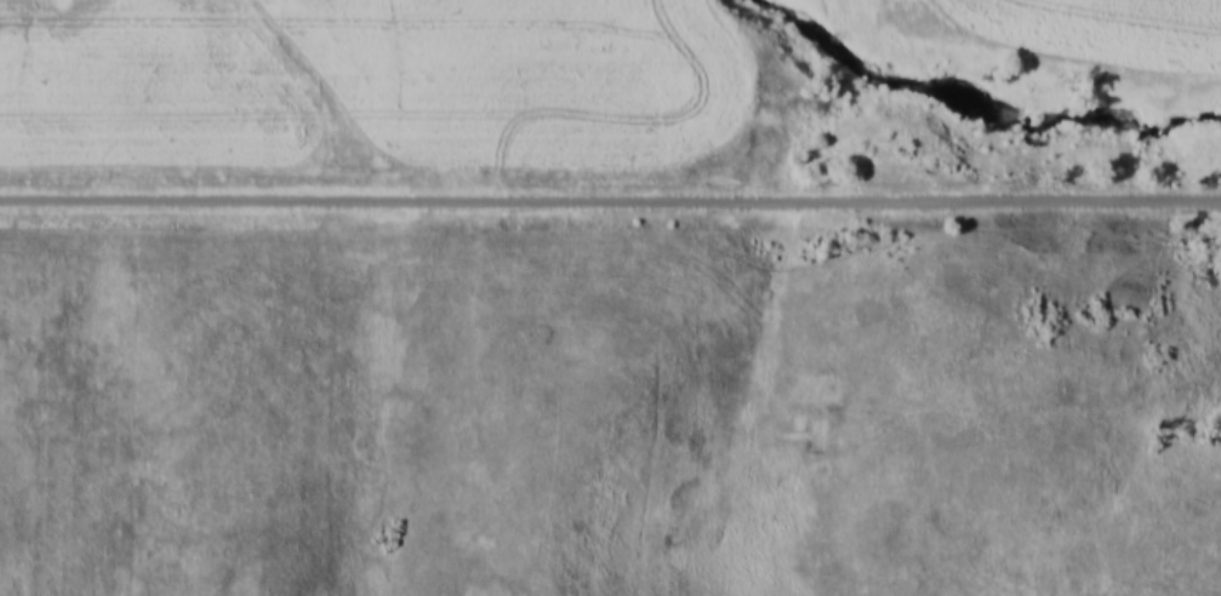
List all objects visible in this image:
crop: (1096, 24)
crop: (369, 84)
road: (610, 196)

